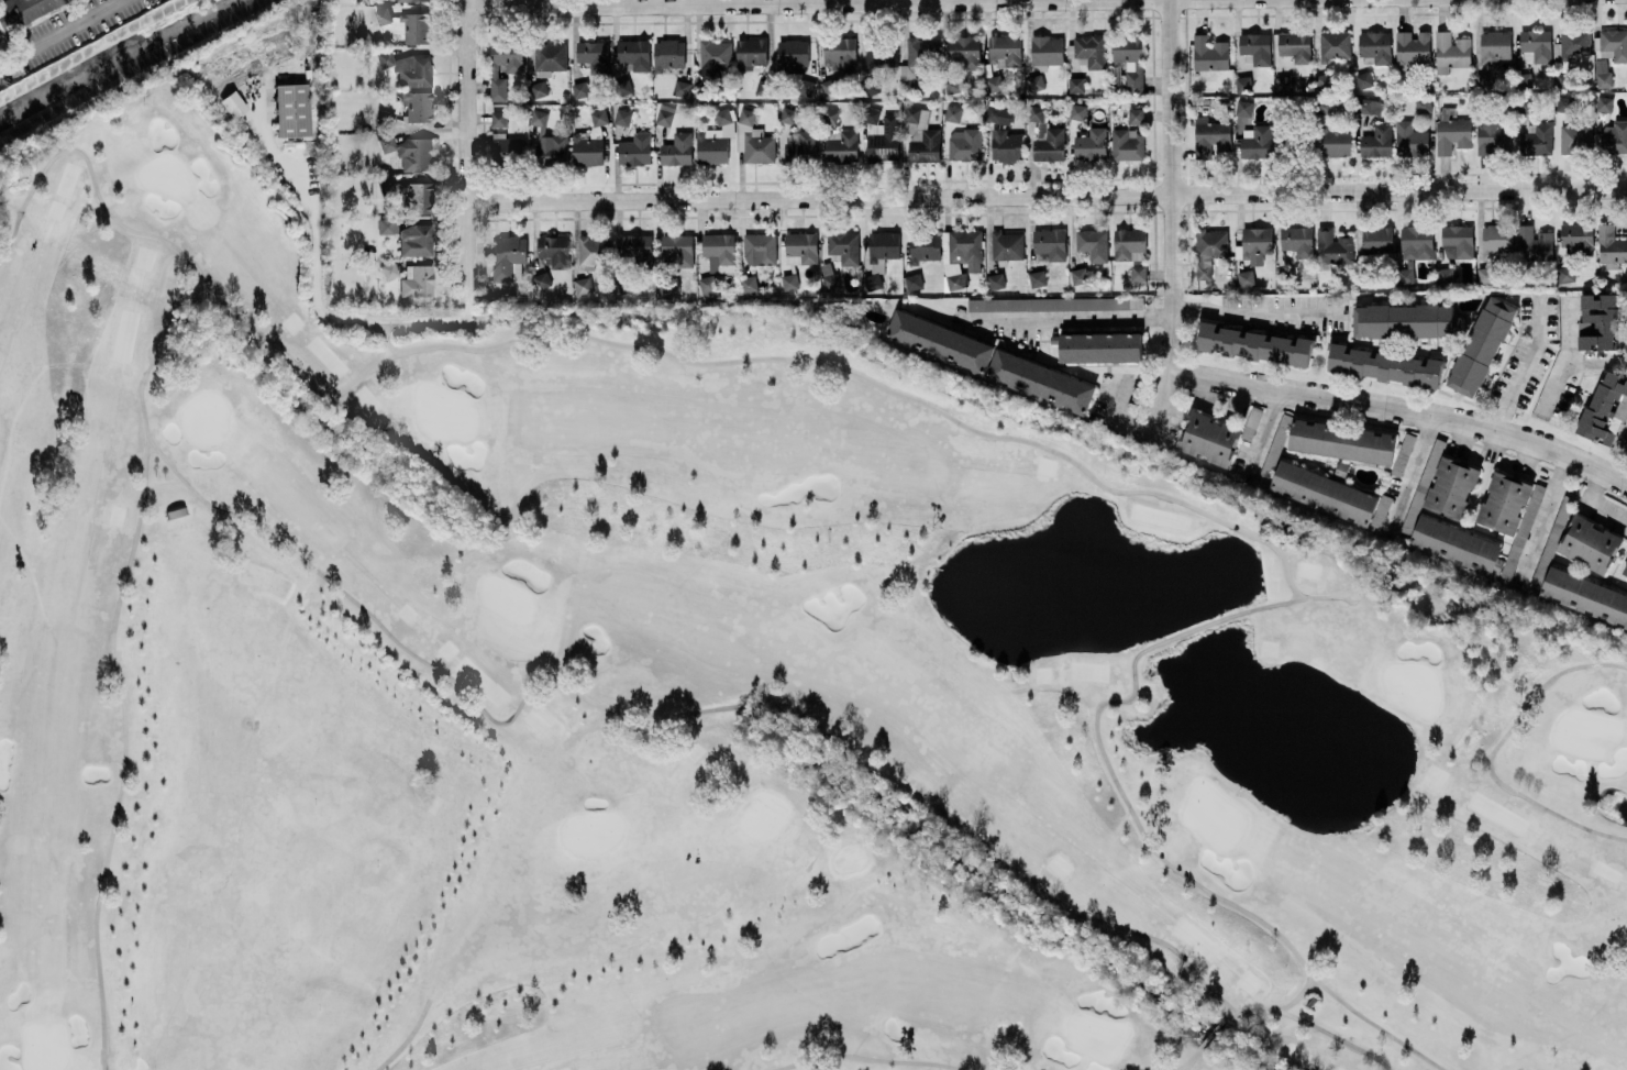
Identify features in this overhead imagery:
building: (412, 0)
road: (864, 4)
building: (23, 11)
building: (384, 15)
building: (414, 27)
road: (62, 32)
building: (1575, 43)
building: (1335, 45)
building: (1612, 45)
building: (1296, 46)
building: (1535, 46)
building: (1257, 47)
building: (1375, 47)
building: (1413, 47)
building: (1494, 48)
building: (1557, 49)
building: (1005, 51)
building: (1047, 51)
building: (752, 52)
building: (922, 52)
building: (964, 52)
building: (1091, 52)
building: (1451, 52)
building: (840, 53)
building: (1210, 53)
building: (634, 54)
building: (668, 55)
building: (551, 56)
building: (594, 56)
building: (794, 56)
building: (882, 56)
building: (716, 59)
building: (1130, 60)
building: (407, 67)
building: (514, 69)
building: (1603, 73)
building: (1364, 79)
building: (1563, 80)
building: (1325, 81)
building: (1484, 81)
building: (1524, 81)
building: (995, 82)
building: (1037, 82)
building: (1243, 84)
building: (1284, 84)
building: (953, 85)
building: (1076, 85)
building: (829, 86)
building: (911, 86)
building: (623, 87)
building: (540, 88)
building: (682, 88)
building: (763, 88)
building: (806, 88)
building: (580, 90)
building: (233, 103)
building: (1424, 104)
building: (1564, 104)
building: (1604, 104)
building: (418, 106)
building: (1370, 107)
building: (1244, 108)
building: (291, 109)
building: (953, 113)
building: (998, 114)
building: (665, 115)
building: (788, 115)
building: (829, 115)
building: (872, 115)
building: (1136, 115)
building: (599, 117)
building: (746, 117)
building: (386, 118)
building: (623, 118)
building: (499, 119)
building: (1492, 134)
building: (1452, 135)
building: (921, 136)
building: (1210, 137)
building: (1615, 137)
building: (1541, 139)
building: (1575, 139)
building: (716, 140)
building: (1410, 140)
building: (885, 141)
building: (1257, 142)
building: (1377, 142)
building: (550, 143)
building: (1337, 143)
building: (965, 144)
building: (1007, 145)
building: (1128, 145)
building: (757, 146)
building: (841, 146)
building: (507, 147)
building: (588, 147)
building: (801, 147)
building: (1091, 147)
building: (637, 150)
building: (677, 150)
road: (468, 151)
building: (410, 152)
building: (380, 186)
building: (414, 197)
road: (1048, 197)
road: (1175, 222)
building: (385, 225)
building: (1578, 238)
building: (416, 240)
building: (1377, 240)
building: (1459, 240)
building: (1497, 240)
building: (1297, 241)
building: (1129, 243)
building: (1051, 244)
building: (1094, 244)
building: (1257, 244)
building: (1534, 244)
building: (1008, 245)
building: (1611, 245)
building: (803, 246)
building: (925, 246)
building: (1333, 246)
building: (844, 247)
building: (635, 249)
building: (760, 249)
building: (966, 249)
building: (677, 250)
building: (883, 250)
building: (555, 251)
building: (594, 251)
building: (1209, 251)
building: (1414, 251)
building: (508, 258)
building: (388, 269)
building: (1139, 273)
building: (1565, 274)
building: (1486, 275)
building: (1080, 276)
building: (1446, 276)
building: (1038, 278)
building: (1246, 278)
building: (417, 280)
building: (542, 280)
building: (996, 280)
building: (789, 282)
building: (831, 282)
building: (914, 282)
building: (958, 282)
building: (583, 286)
building: (709, 286)
building: (749, 286)
road: (318, 301)
building: (1055, 304)
road: (1260, 315)
road: (1075, 319)
building: (1406, 321)
building: (1598, 321)
building: (940, 342)
building: (1254, 345)
building: (1482, 346)
building: (1100, 348)
road: (1568, 357)
road: (1597, 361)
building: (1384, 366)
road: (1526, 367)
building: (1041, 382)
building: (1606, 409)
road: (1402, 411)
road: (1260, 431)
building: (1209, 439)
road: (1623, 440)
building: (1342, 442)
building: (1405, 452)
road: (1410, 472)
building: (1447, 484)
building: (1331, 495)
road: (1595, 503)
building: (1510, 514)
road: (1545, 519)
building: (1552, 543)
building: (1457, 544)
building: (1591, 544)
building: (1626, 573)
building: (1585, 596)
park: (710, 688)

